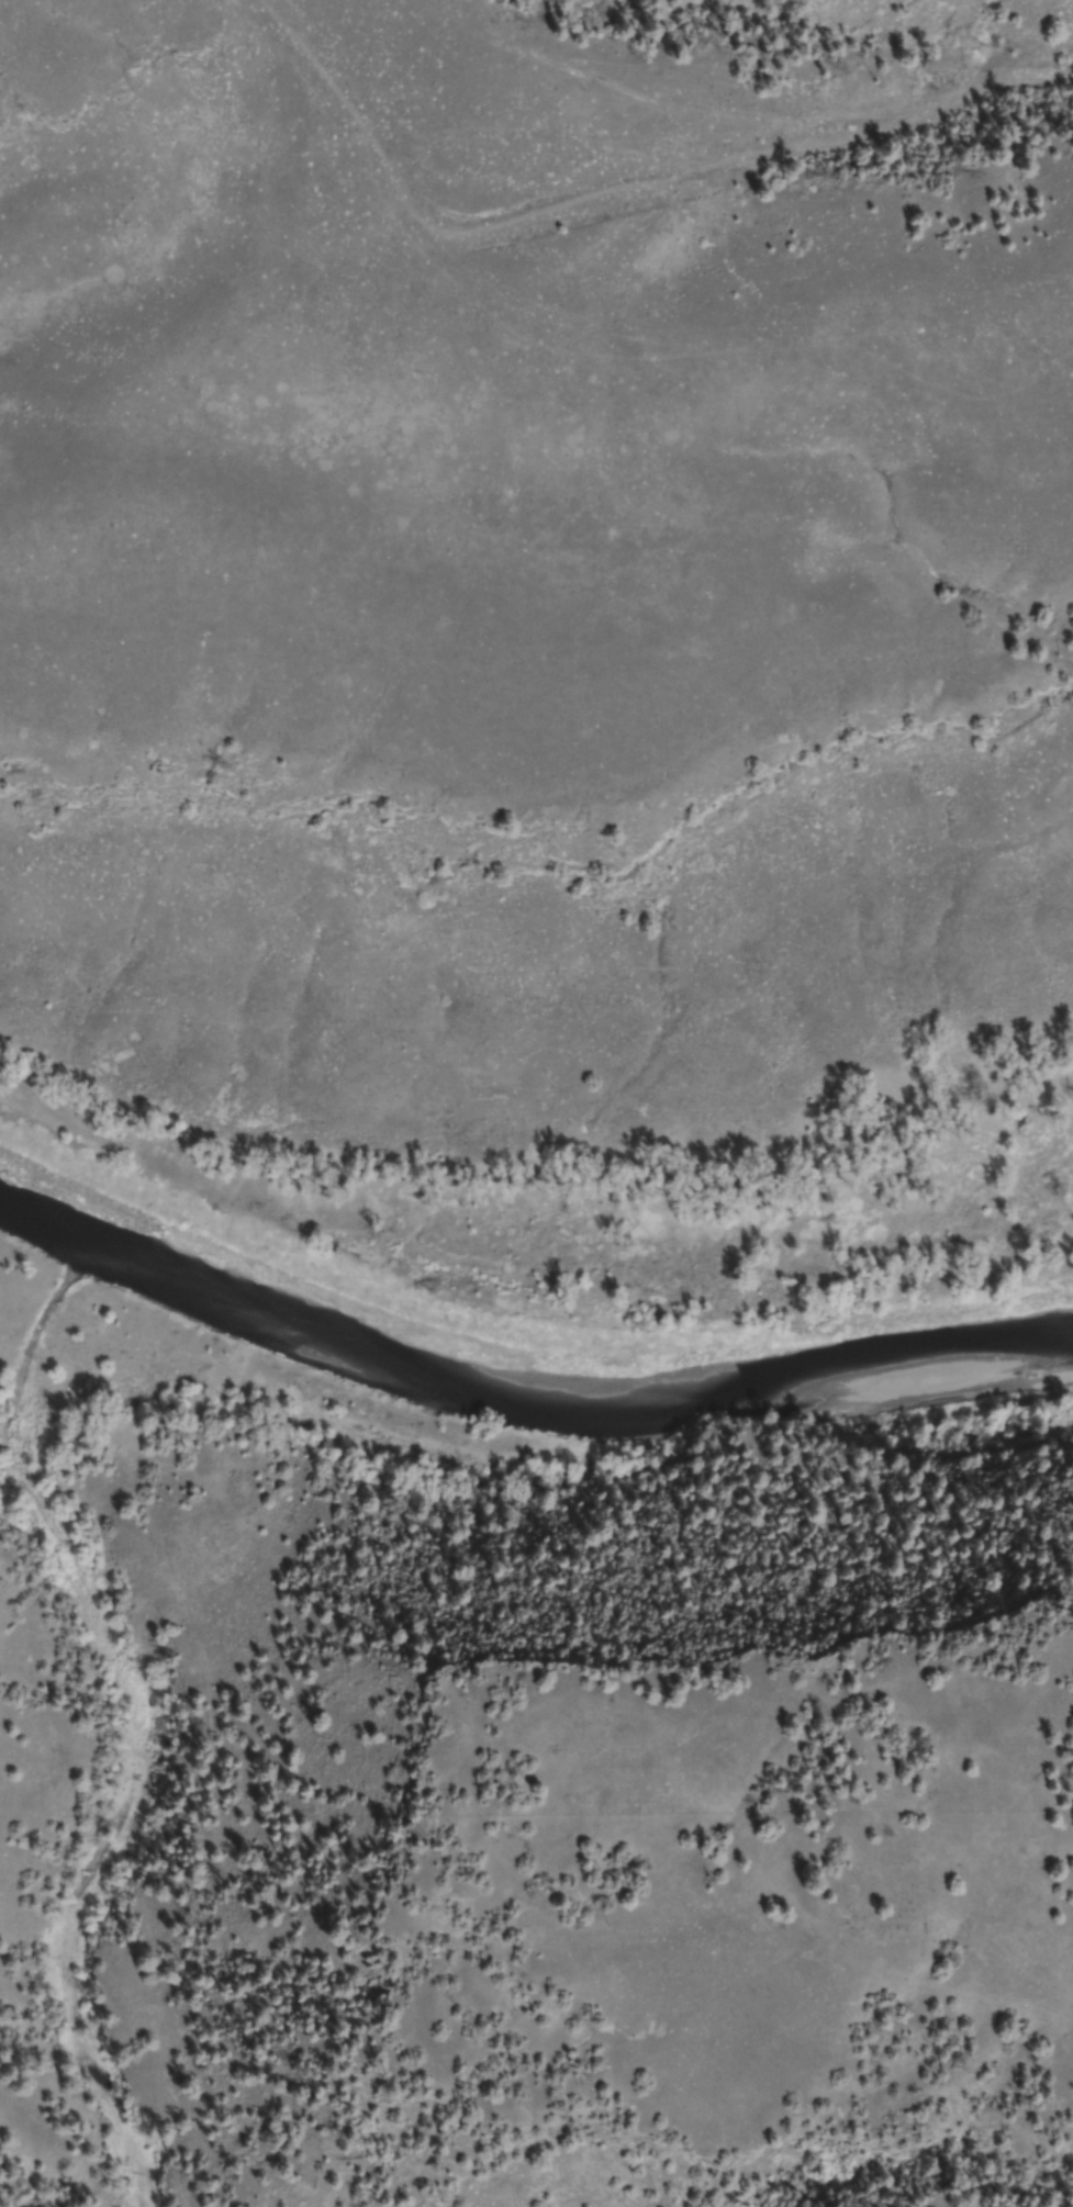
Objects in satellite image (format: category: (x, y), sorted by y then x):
park: (544, 672)
river: (518, 1401)

